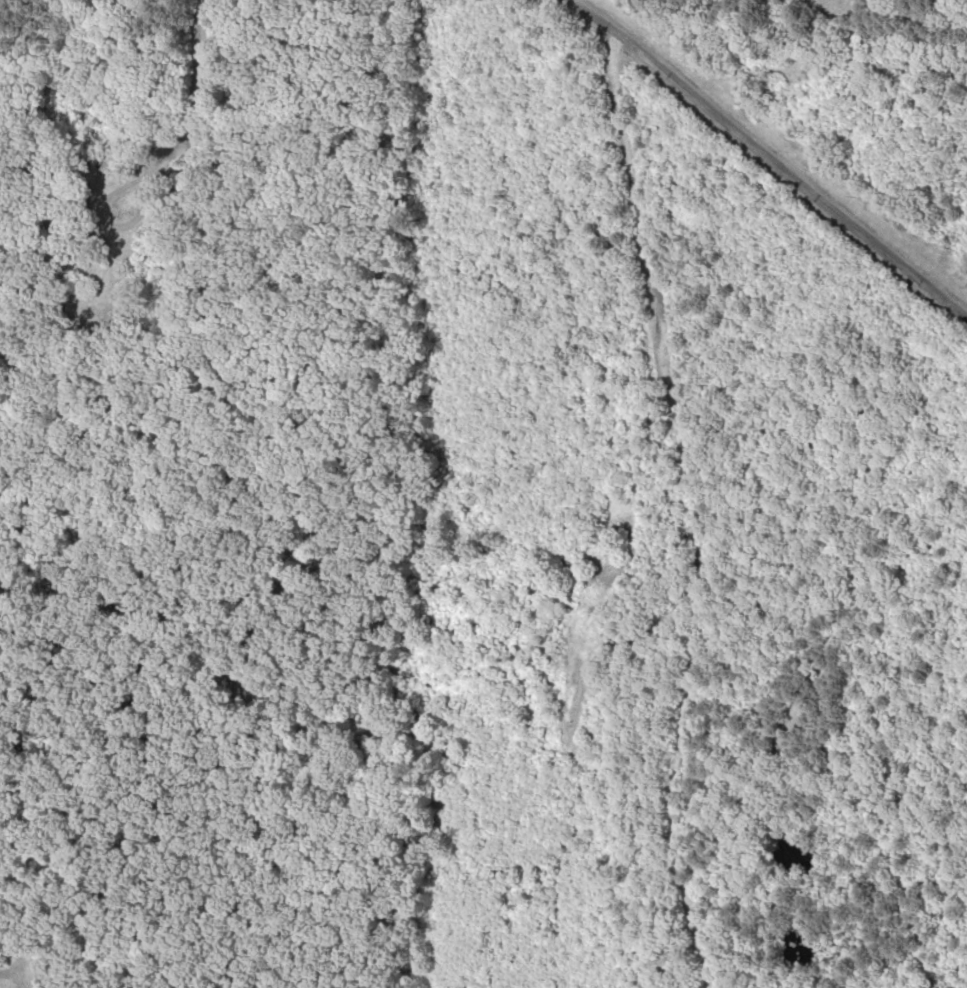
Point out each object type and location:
road: (766, 154)
road: (679, 509)

